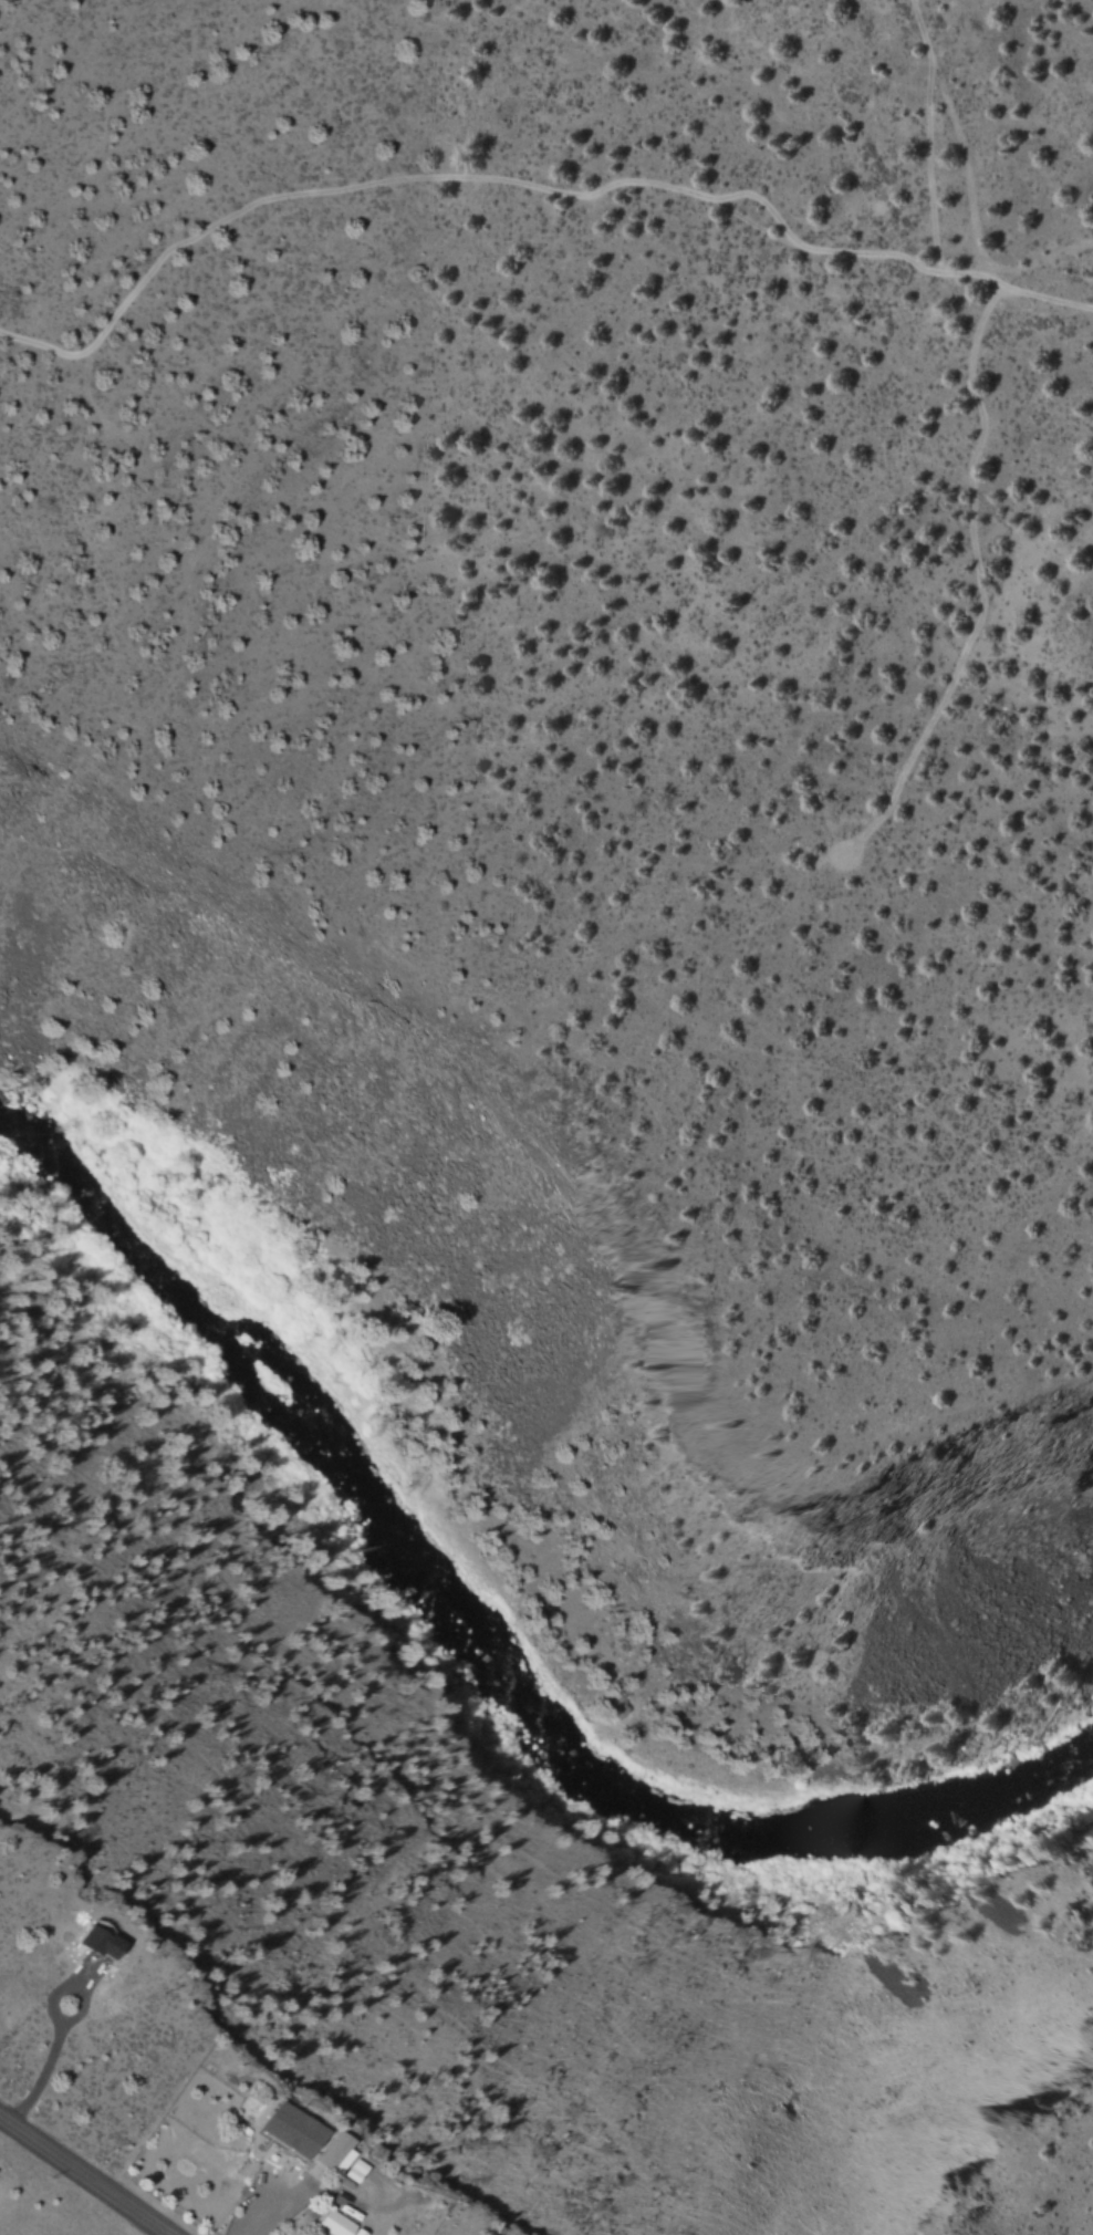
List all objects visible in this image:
road: (528, 184)
river: (475, 1643)
building: (103, 1944)
building: (293, 2131)
building: (333, 2150)
building: (344, 2162)
road: (82, 2177)
building: (340, 2226)

